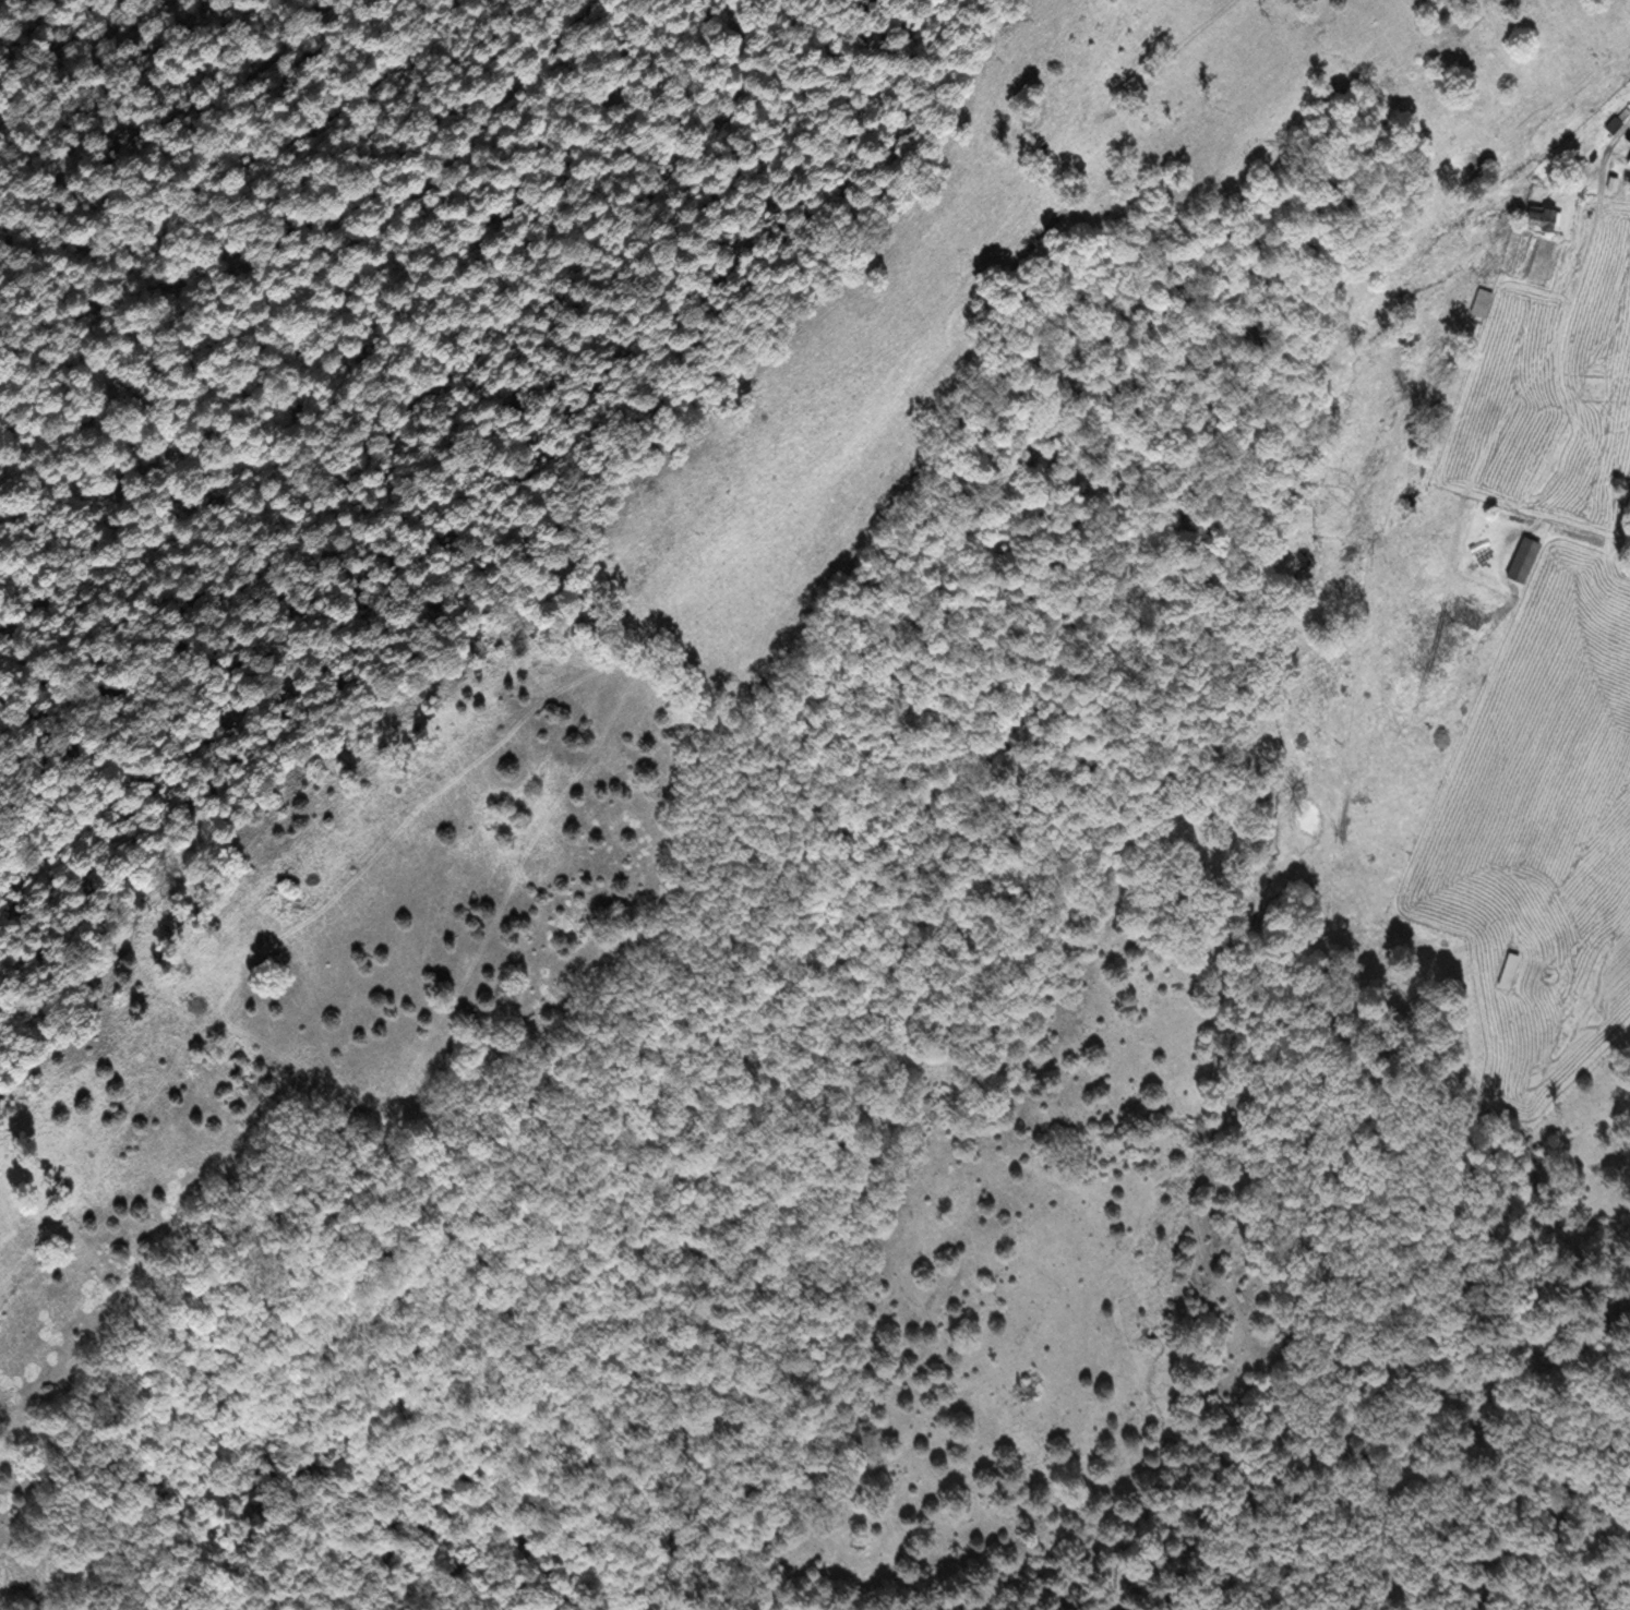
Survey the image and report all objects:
building: (1625, 111)
building: (1628, 159)
building: (1613, 181)
building: (1544, 216)
building: (1483, 302)
road: (1470, 483)
building: (1519, 551)

